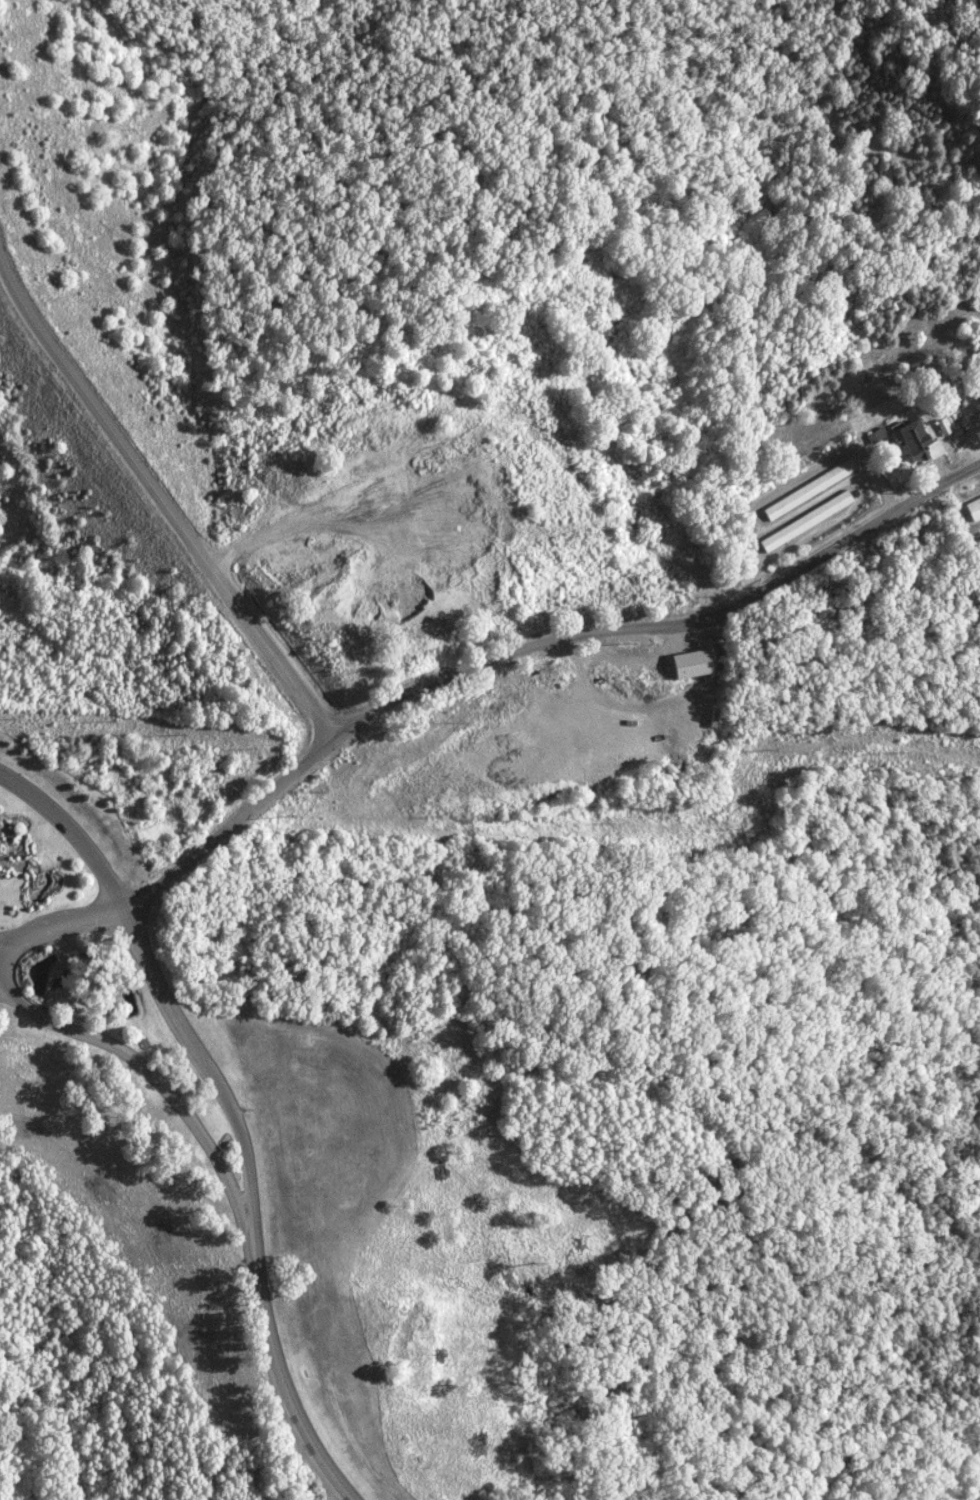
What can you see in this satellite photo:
building: (940, 427)
building: (916, 443)
building: (807, 489)
building: (972, 508)
building: (804, 521)
road: (167, 526)
building: (689, 662)
road: (469, 667)
road: (163, 1003)
road: (166, 1089)
road: (286, 1394)
road: (272, 1438)

